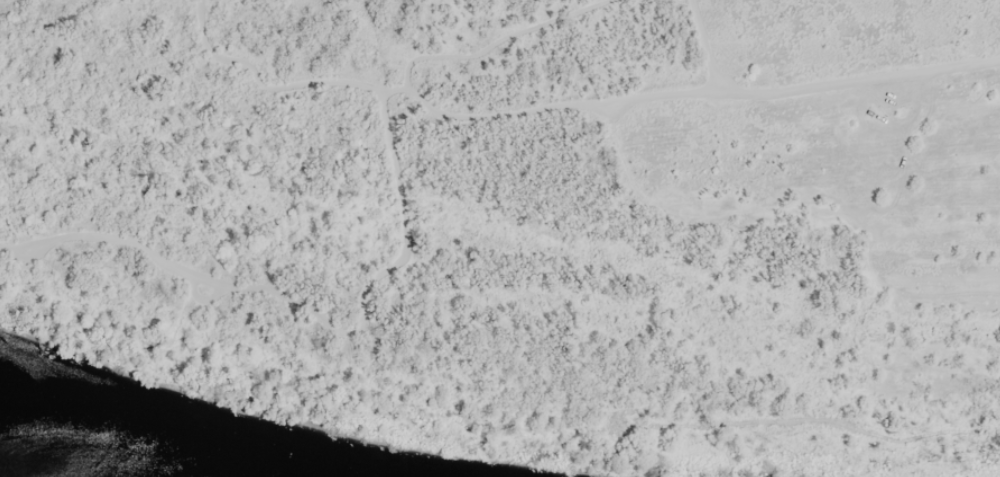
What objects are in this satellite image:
river: (165, 419)
river: (37, 471)

